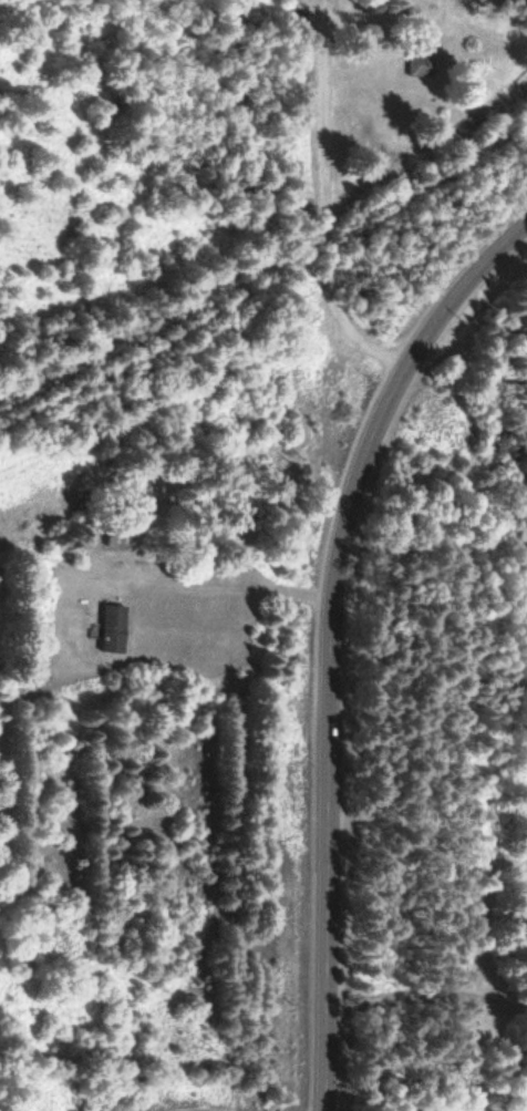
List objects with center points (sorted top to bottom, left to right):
road: (321, 206)
road: (269, 275)
building: (121, 537)
building: (116, 628)
road: (324, 637)

